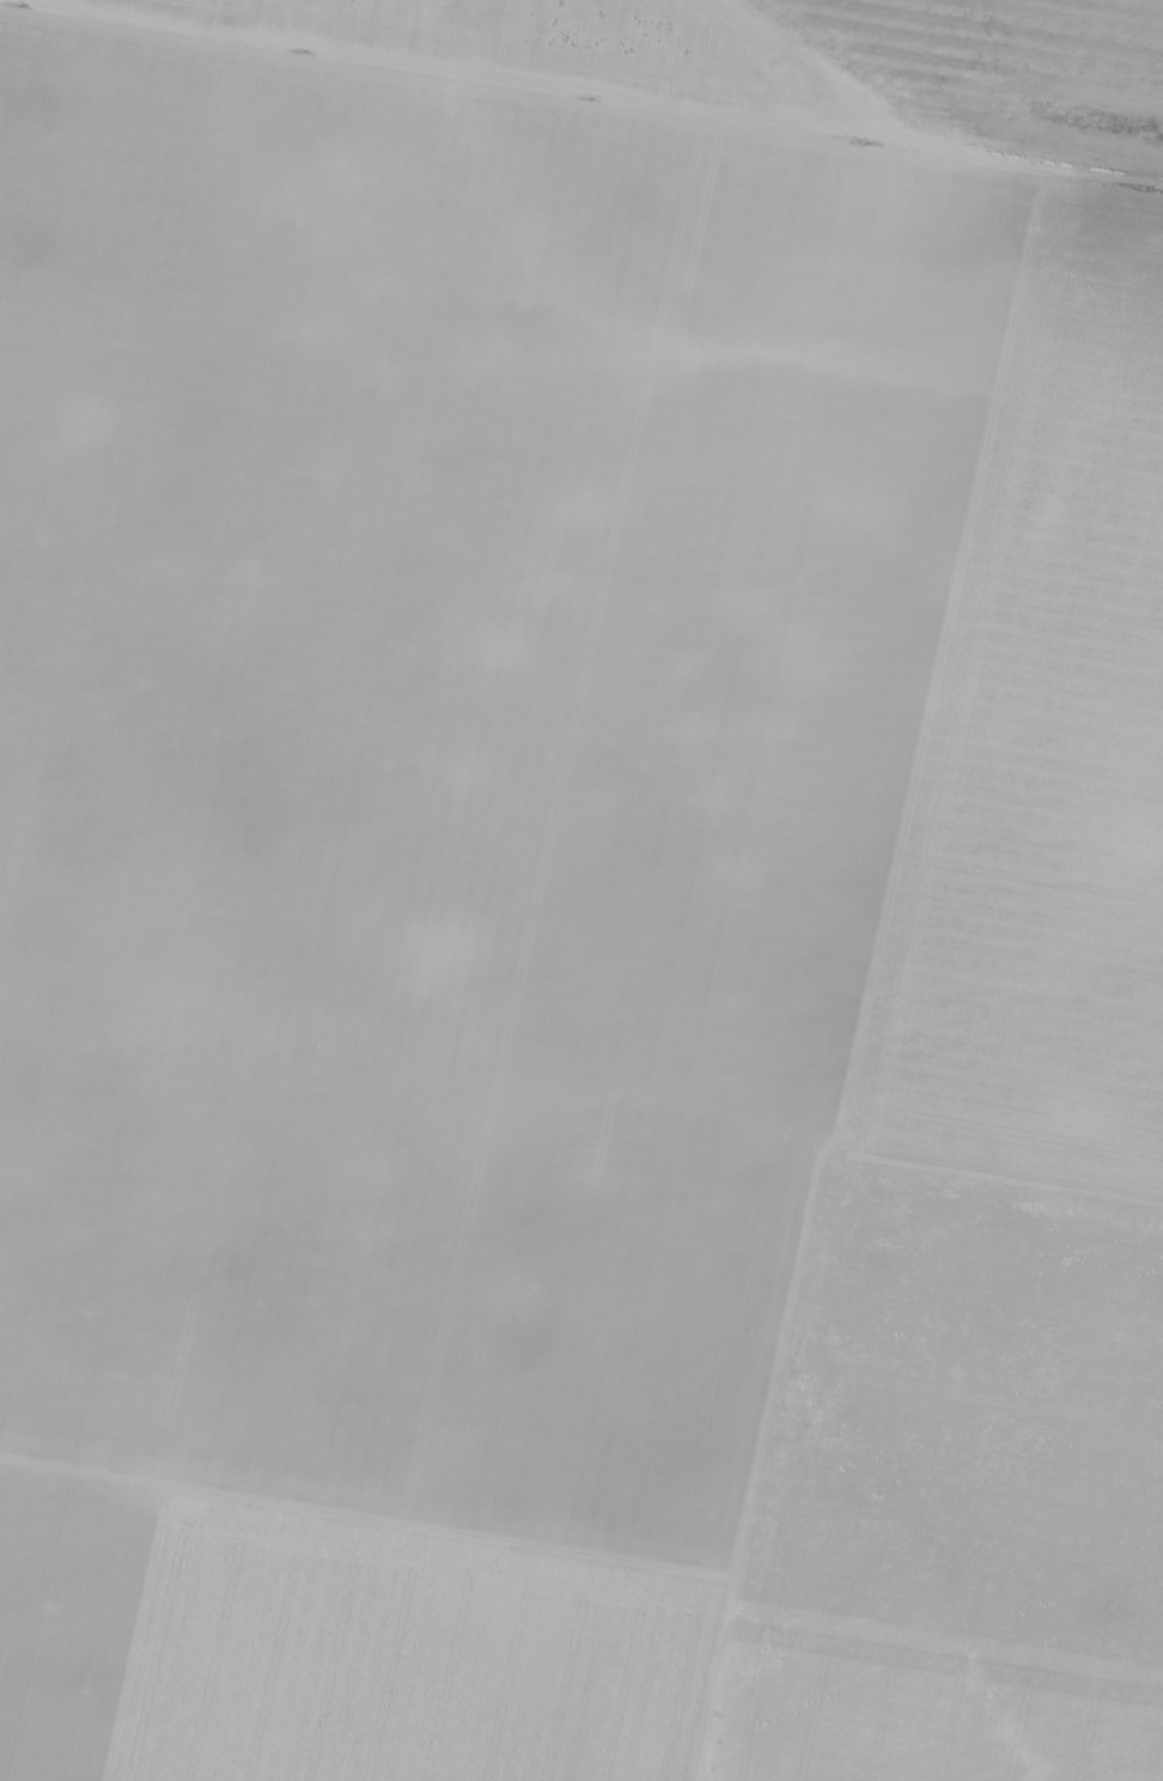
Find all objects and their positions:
road: (584, 113)

